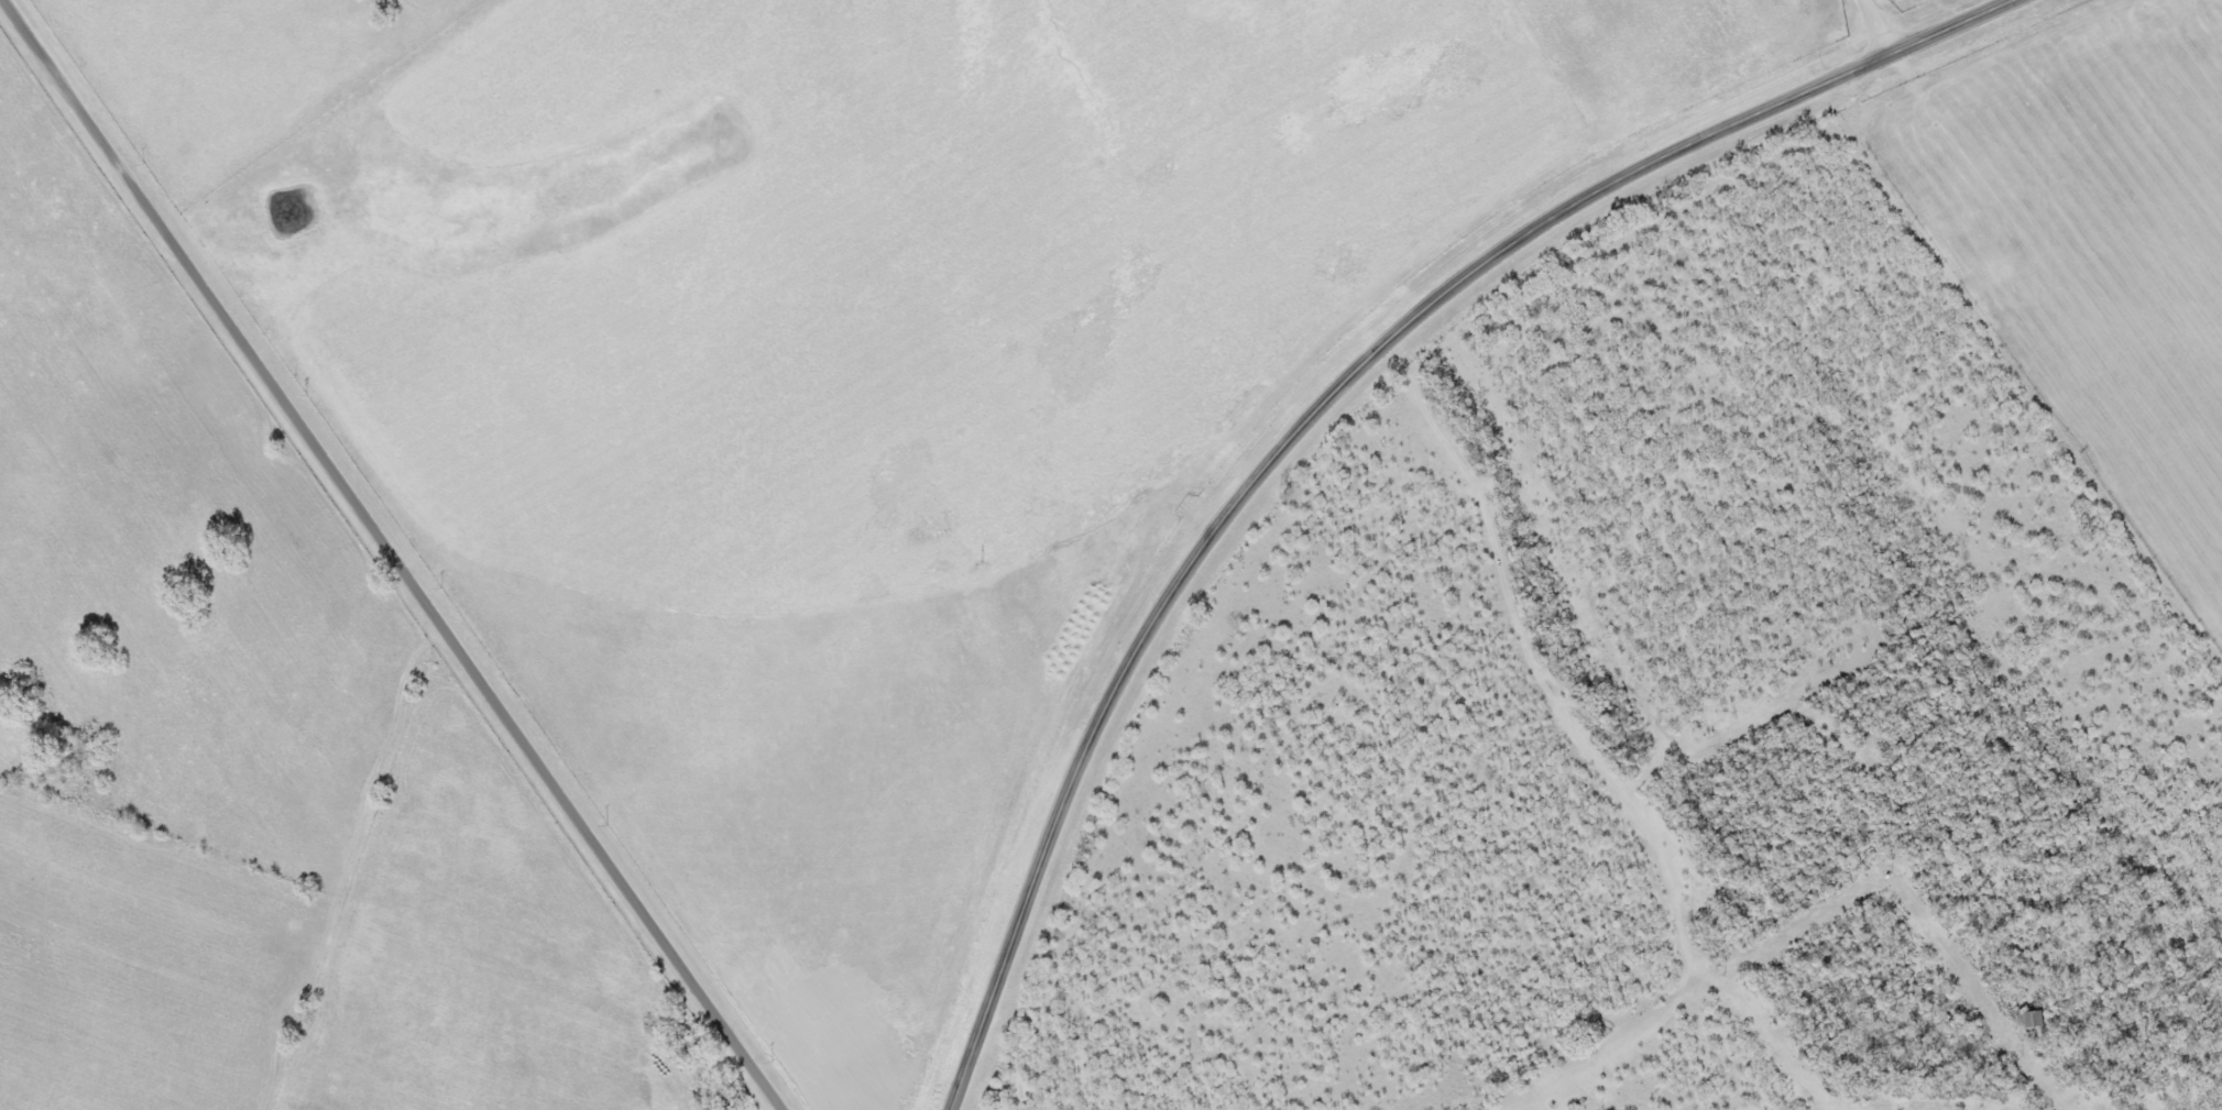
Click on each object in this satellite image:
road: (1876, 25)
road: (1320, 404)
road: (392, 554)

